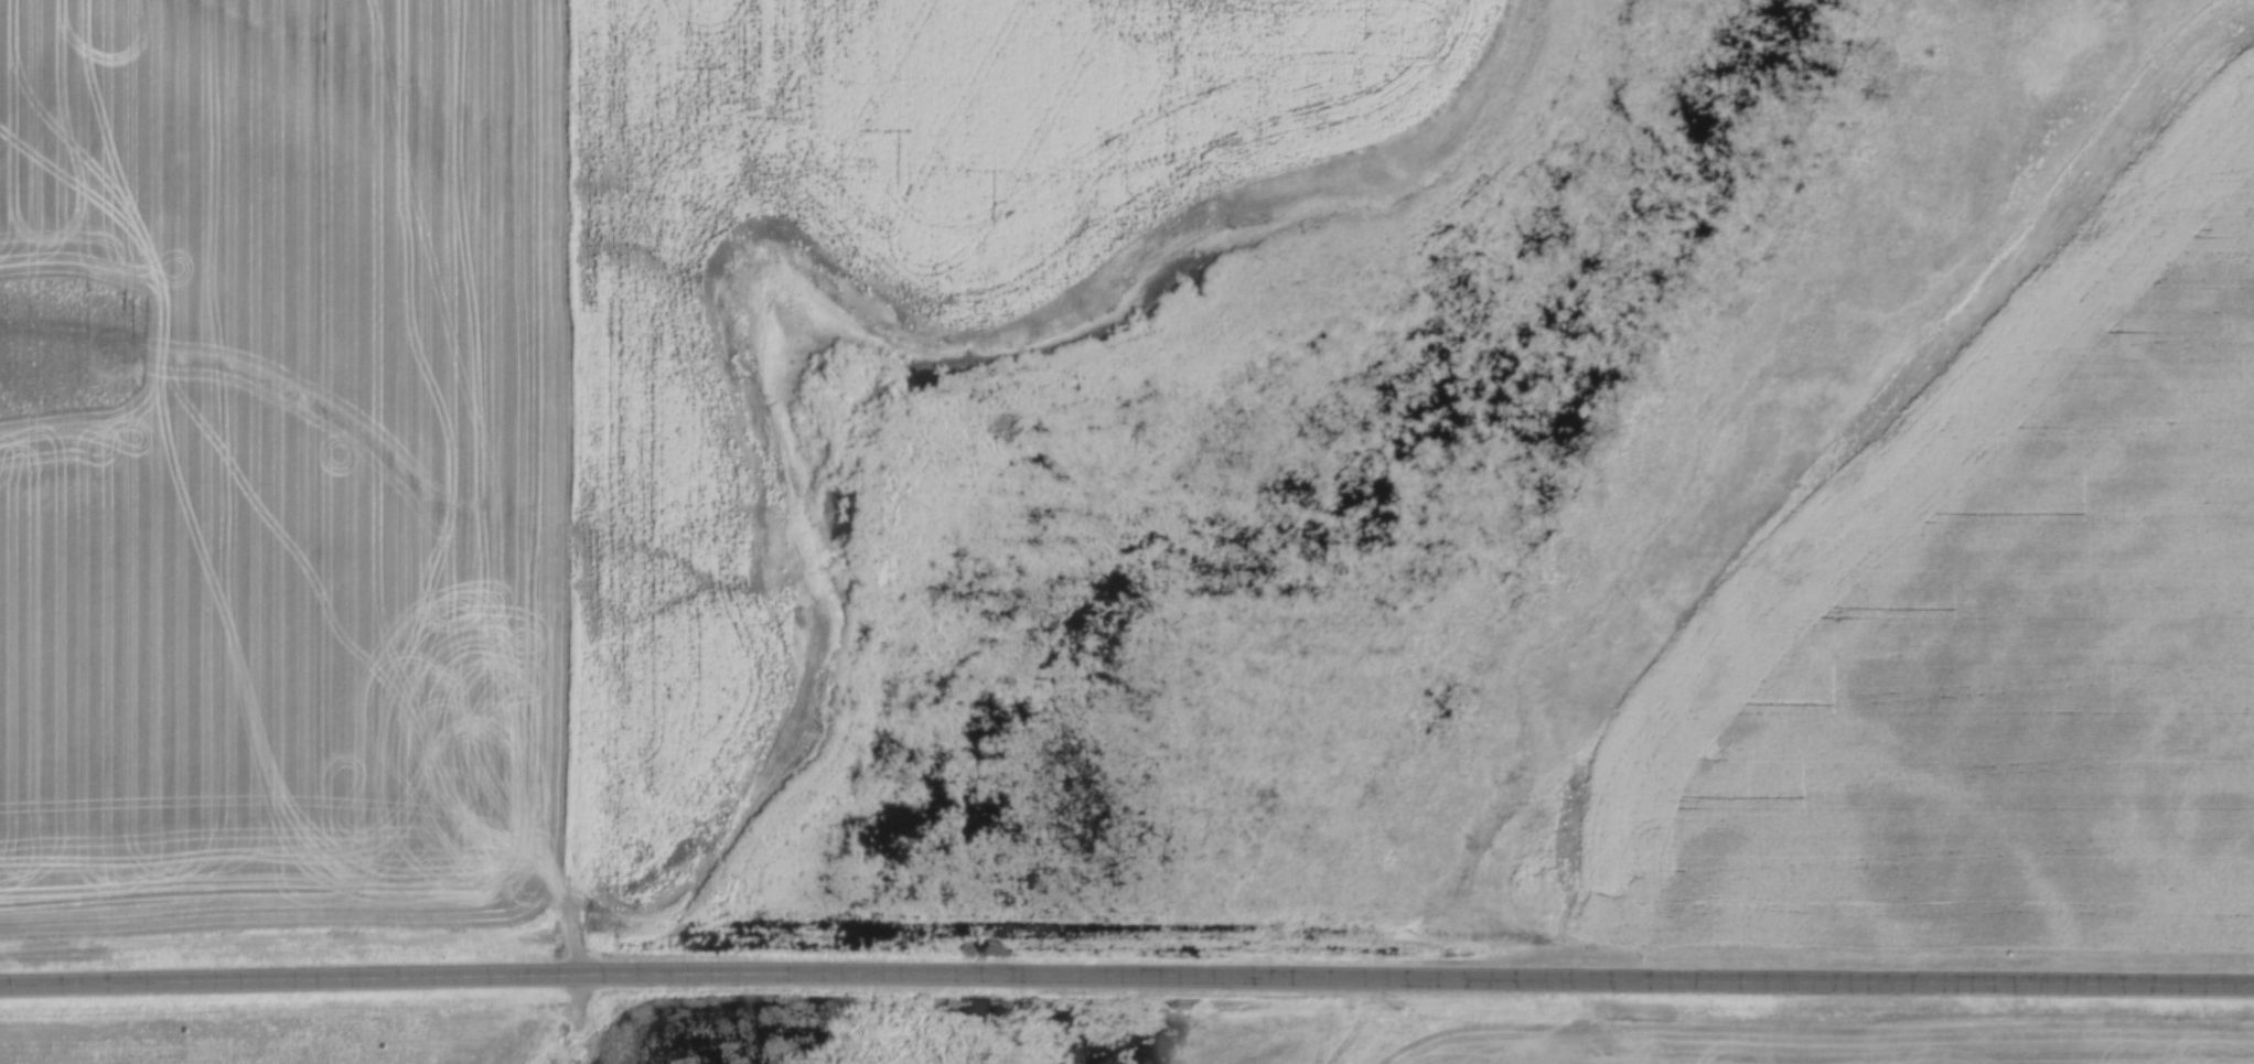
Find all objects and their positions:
road: (571, 486)
road: (1126, 976)
crop: (1823, 1043)

